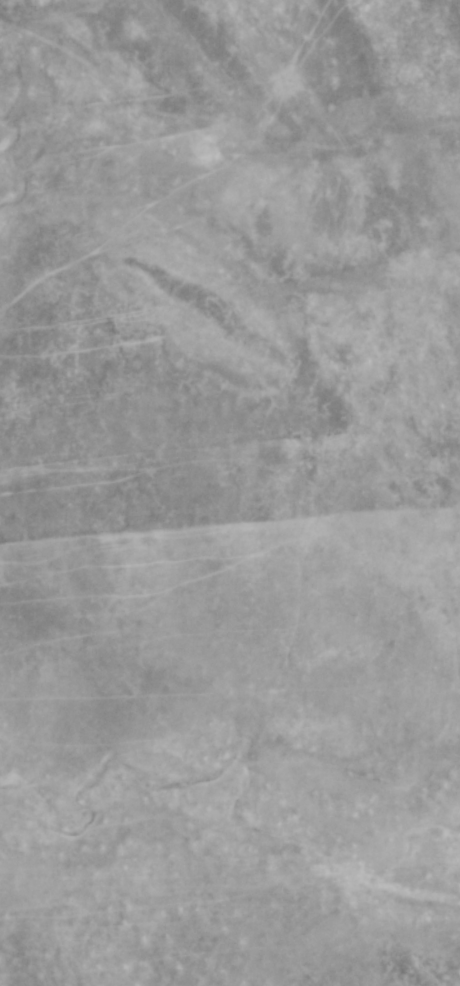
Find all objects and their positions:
road: (218, 144)

